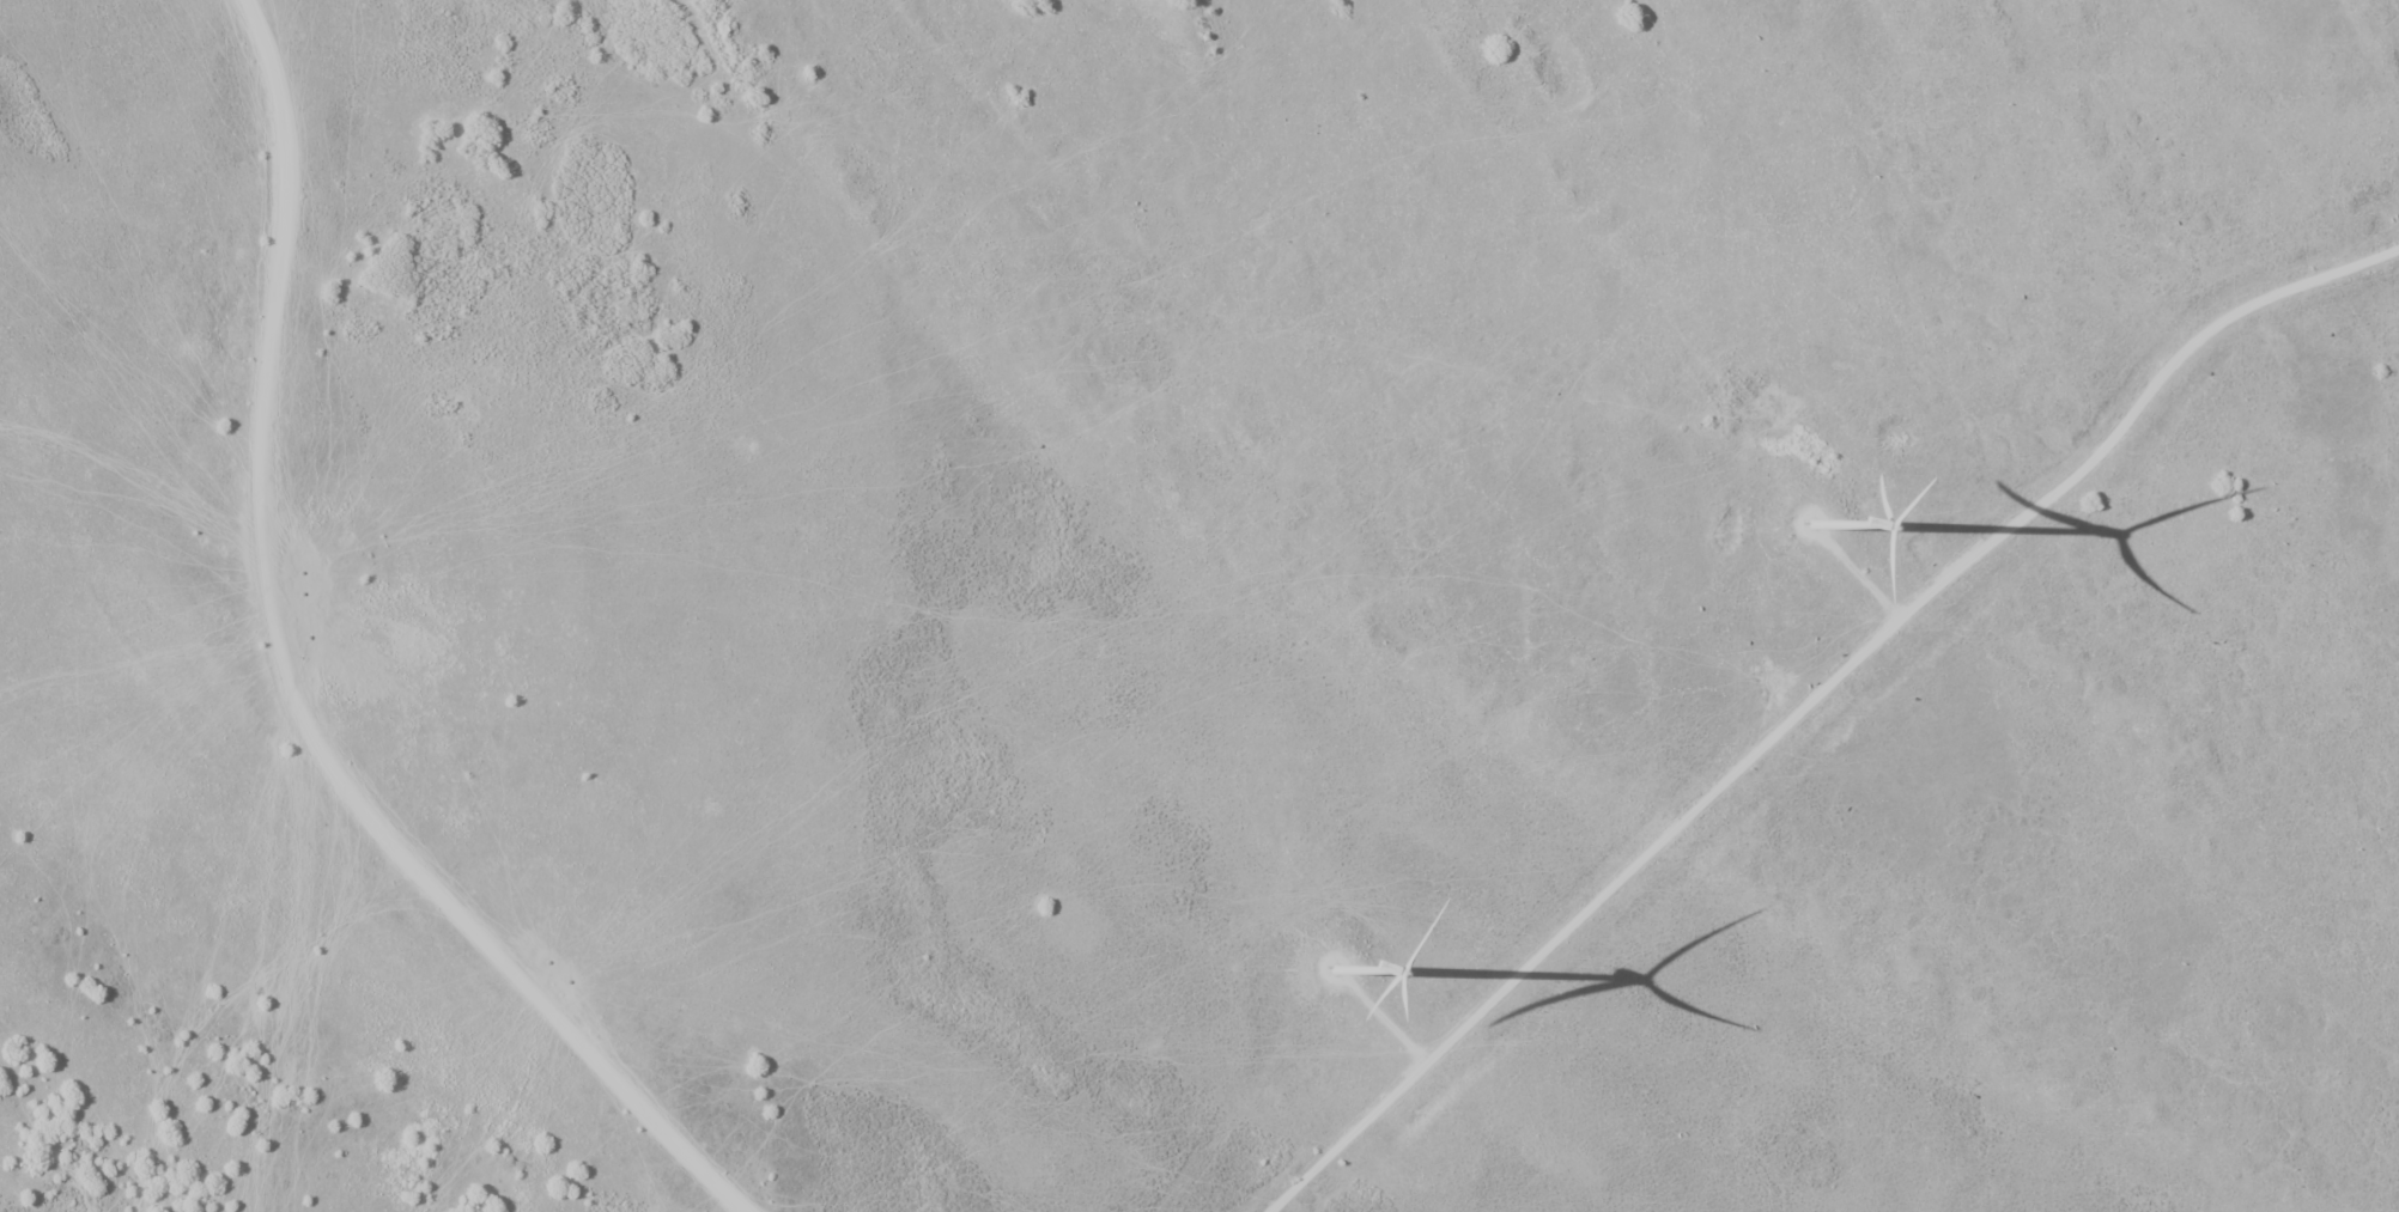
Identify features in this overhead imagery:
road: (725, 84)
wind turbine: (1822, 531)
wind turbine: (1347, 973)

